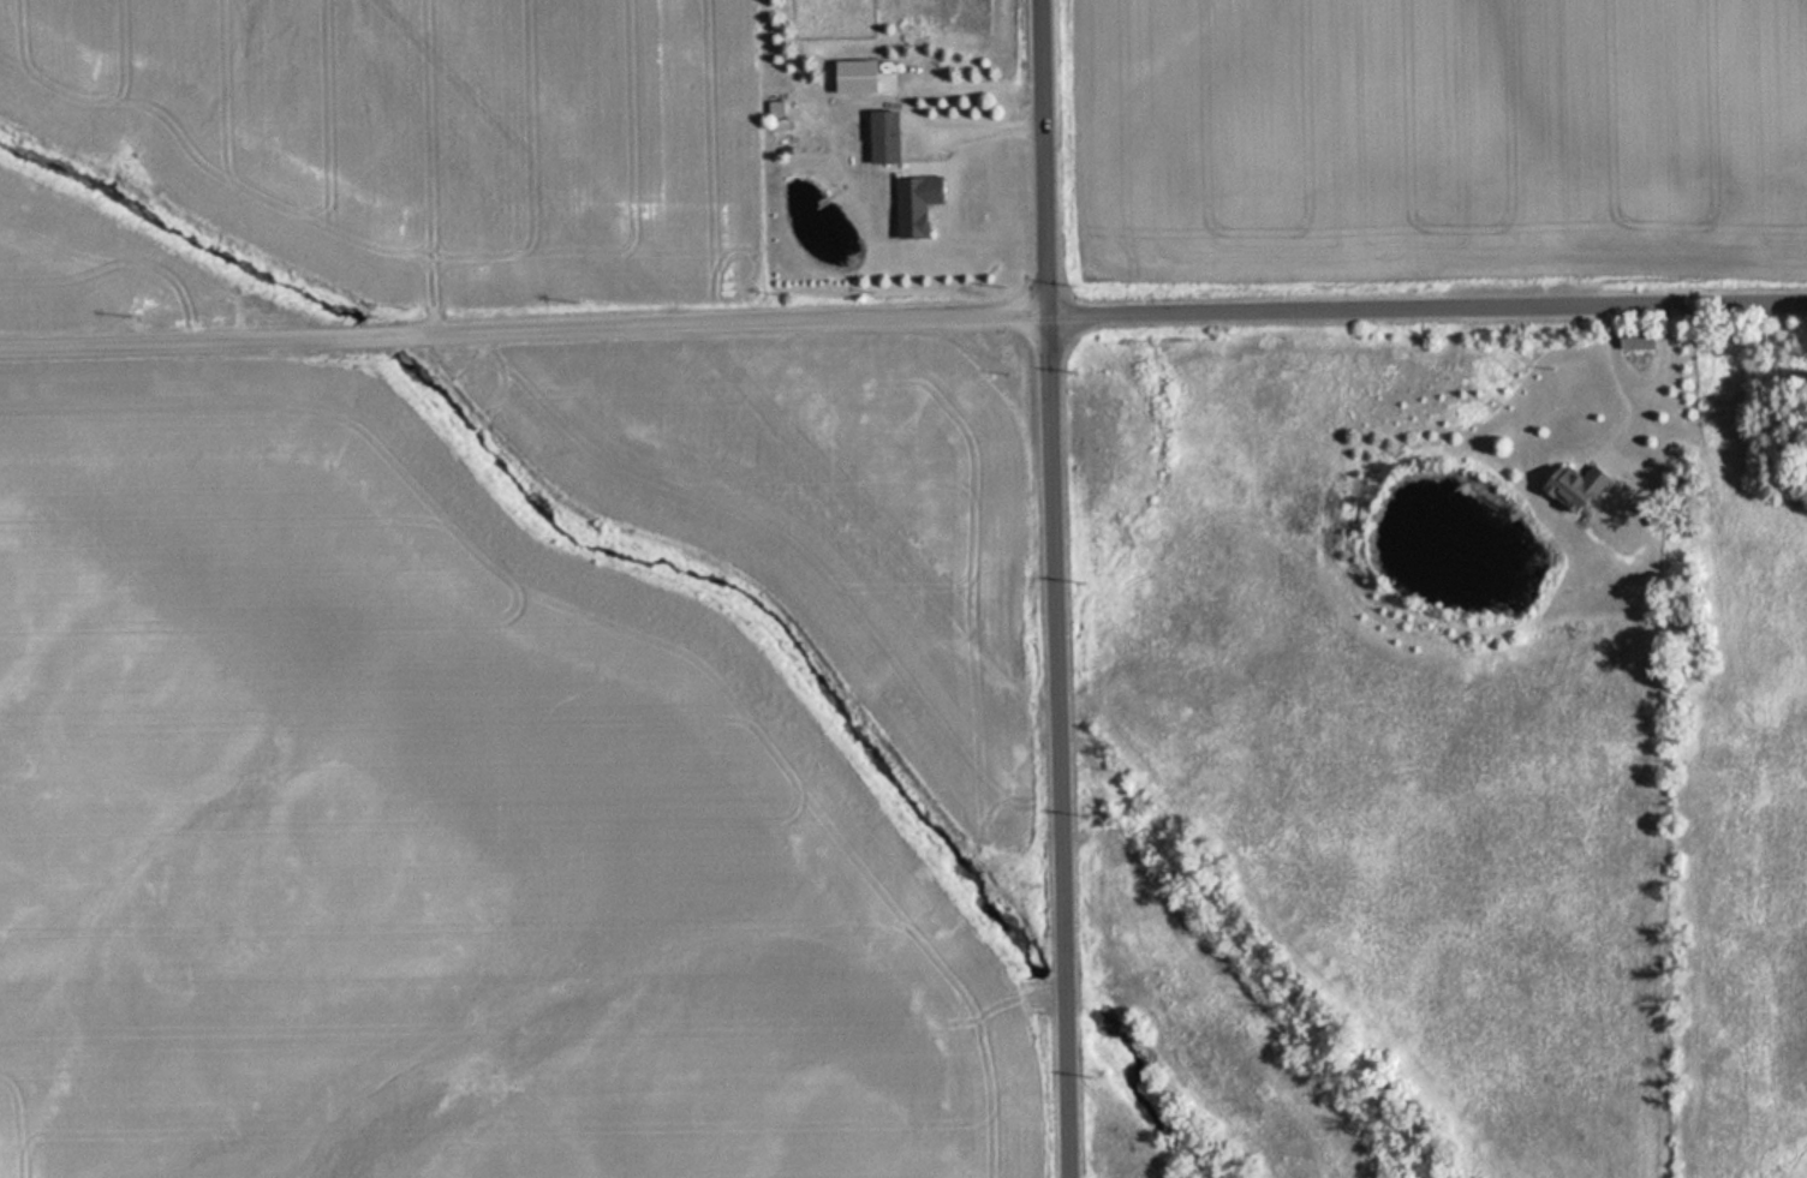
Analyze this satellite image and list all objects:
road: (982, 128)
building: (879, 137)
road: (1046, 160)
building: (913, 204)
road: (1429, 315)
road: (525, 330)
road: (1653, 360)
road: (1623, 389)
building: (1572, 488)
road: (1058, 748)

